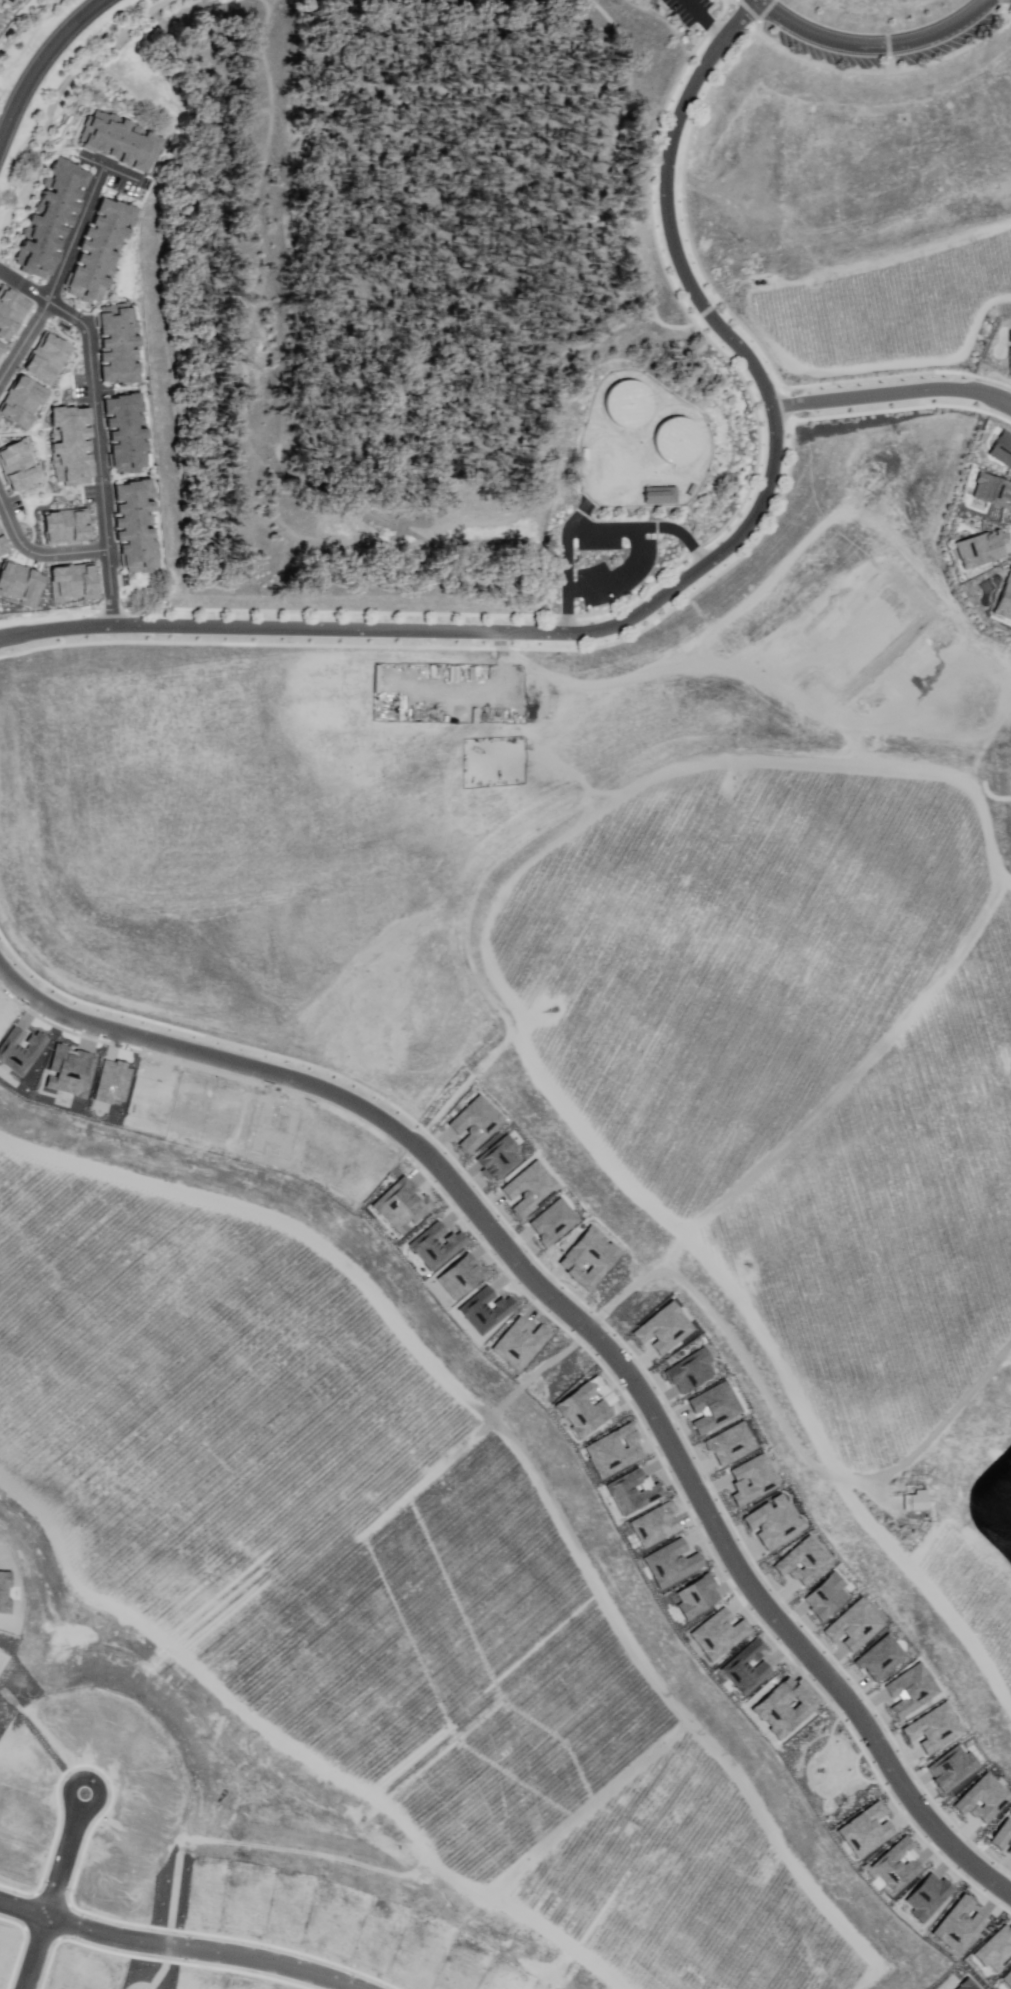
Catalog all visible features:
building: (10, 2)
parking lot: (691, 10)
building: (1, 18)
road: (704, 19)
road: (874, 45)
road: (42, 64)
building: (91, 131)
building: (102, 135)
building: (116, 139)
building: (130, 149)
building: (147, 154)
road: (108, 170)
building: (70, 173)
building: (62, 187)
road: (710, 189)
building: (59, 201)
building: (119, 212)
building: (53, 213)
building: (865, 214)
building: (47, 225)
building: (111, 226)
building: (42, 237)
building: (102, 237)
road: (72, 247)
building: (38, 250)
building: (99, 251)
building: (93, 260)
building: (32, 264)
building: (90, 268)
building: (88, 279)
road: (866, 290)
building: (82, 292)
building: (114, 315)
building: (10, 316)
parking lot: (10, 316)
building: (116, 330)
building: (117, 343)
building: (54, 355)
parking lot: (54, 355)
building: (1009, 356)
building: (113, 357)
building: (117, 374)
building: (24, 394)
parking lot: (24, 394)
road: (894, 400)
building: (123, 405)
building: (626, 405)
storage tank: (630, 405)
building: (69, 417)
building: (119, 421)
road: (94, 426)
building: (72, 432)
building: (127, 435)
building: (676, 442)
storage tank: (679, 442)
building: (73, 445)
building: (128, 447)
building: (1003, 448)
building: (73, 459)
building: (126, 463)
building: (75, 473)
building: (992, 490)
building: (137, 491)
building: (662, 497)
building: (136, 508)
building: (129, 523)
road: (597, 529)
building: (134, 535)
building: (3, 545)
building: (980, 547)
building: (136, 549)
parking lot: (606, 561)
building: (138, 565)
road: (624, 579)
building: (19, 581)
building: (74, 581)
road: (676, 590)
building: (1004, 597)
road: (587, 1323)
building: (916, 1500)
building: (934, 1729)
building: (952, 1768)
building: (984, 1800)
building: (1004, 1837)

